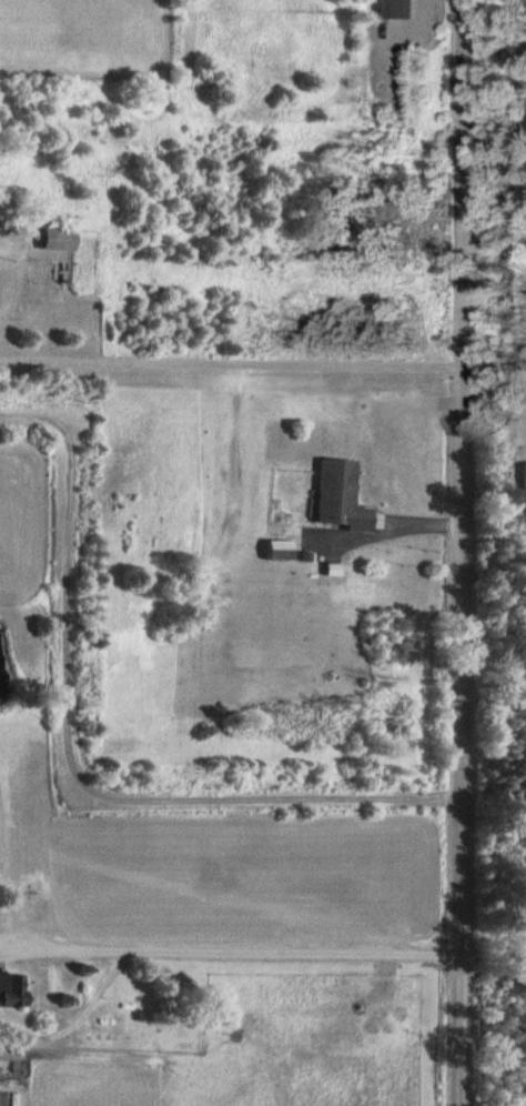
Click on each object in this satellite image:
building: (57, 237)
building: (338, 494)
building: (280, 547)
road: (458, 552)
building: (9, 987)
building: (8, 1050)

